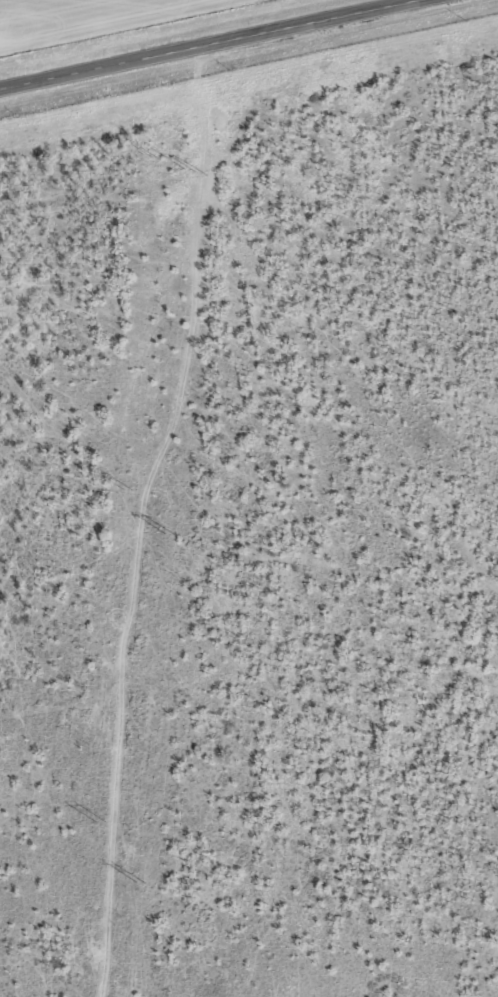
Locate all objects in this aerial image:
road: (211, 45)
power tower: (152, 157)
power tower: (195, 175)
power tower: (129, 490)
power tower: (170, 536)
power tower: (102, 822)
power tower: (143, 886)

